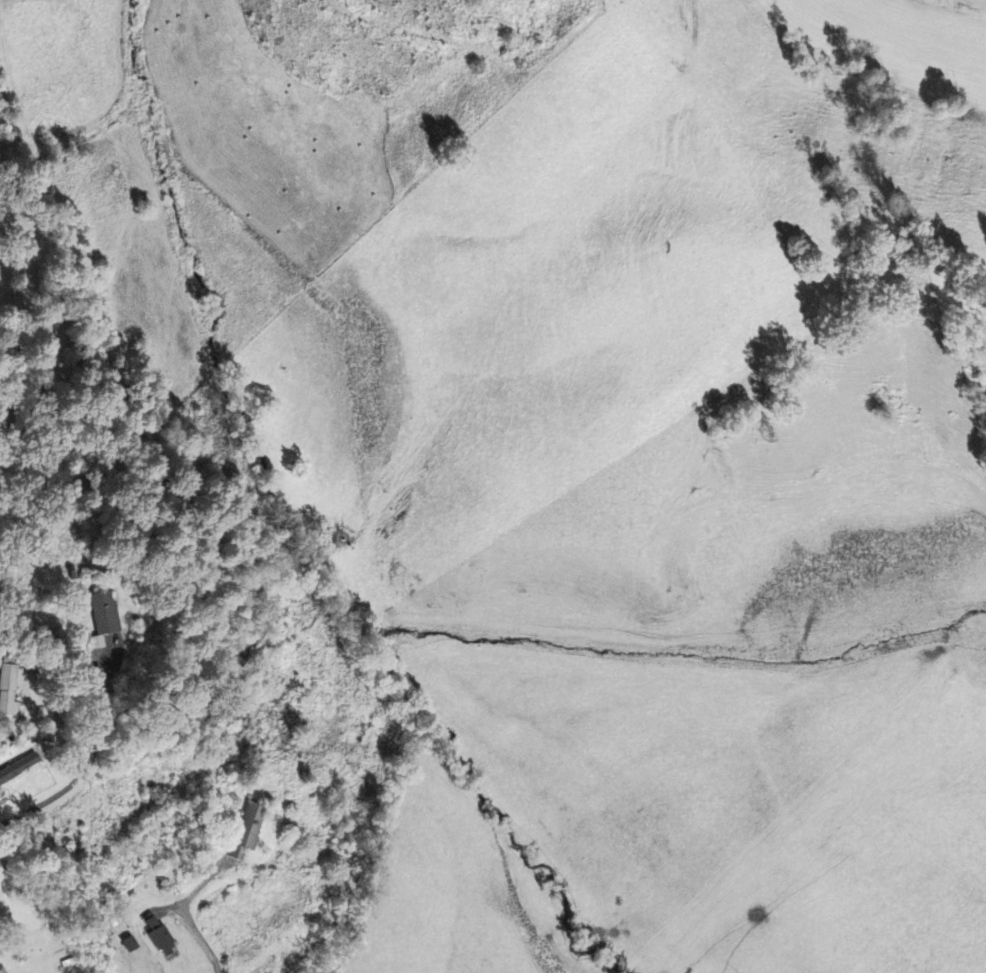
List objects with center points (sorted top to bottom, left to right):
building: (104, 611)
building: (11, 686)
road: (85, 765)
building: (19, 766)
building: (246, 831)
road: (167, 875)
building: (160, 936)
building: (130, 943)

